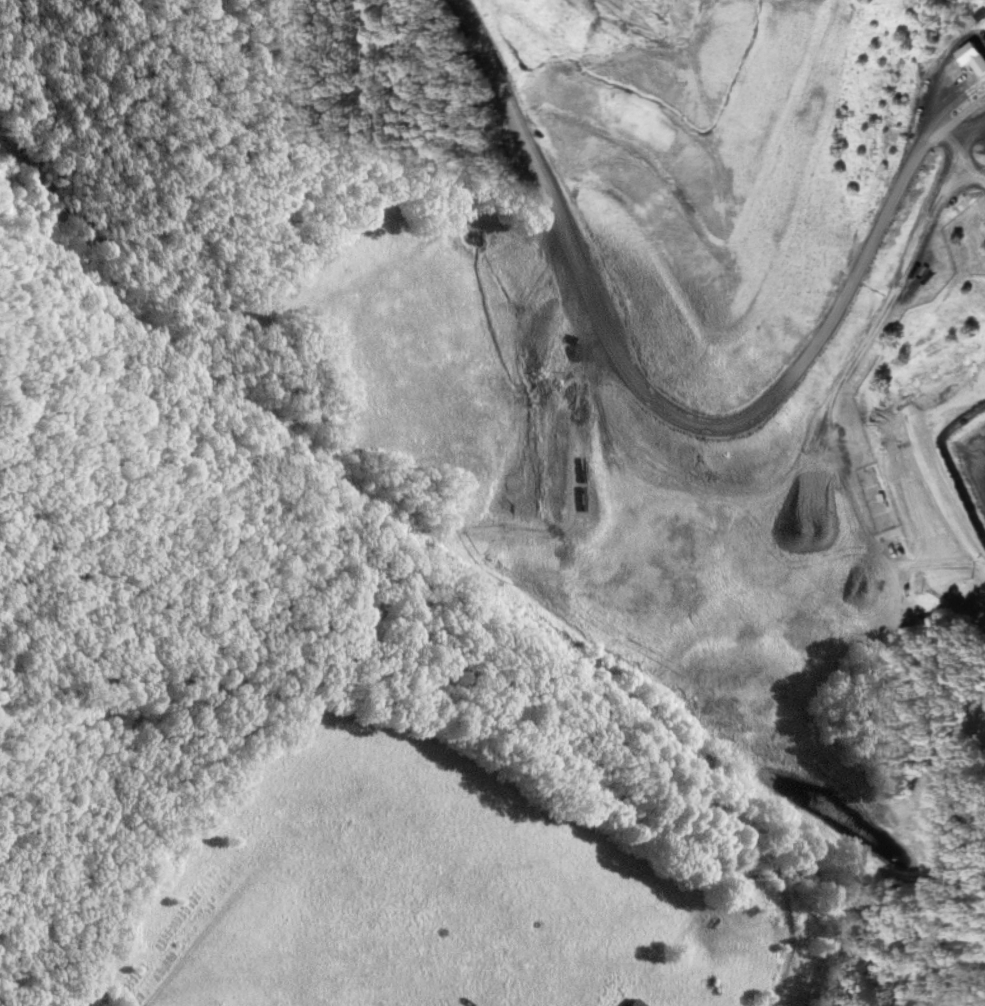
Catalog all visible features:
building: (978, 13)
building: (972, 57)
road: (958, 153)
building: (919, 278)
road: (685, 417)
building: (639, 1002)

